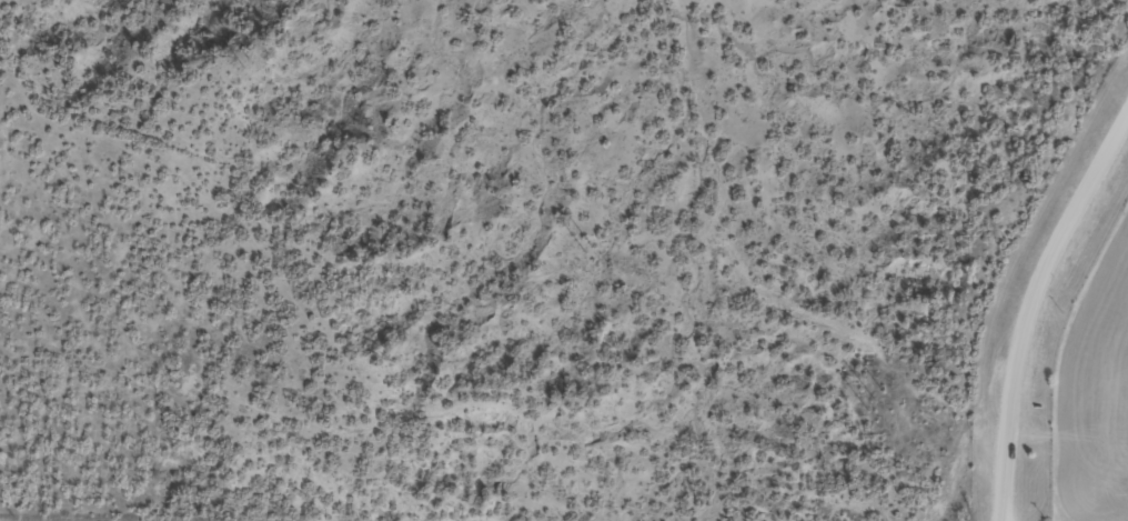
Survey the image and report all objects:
power tower: (248, 64)
power tower: (586, 248)
road: (1030, 310)
power tower: (875, 400)

